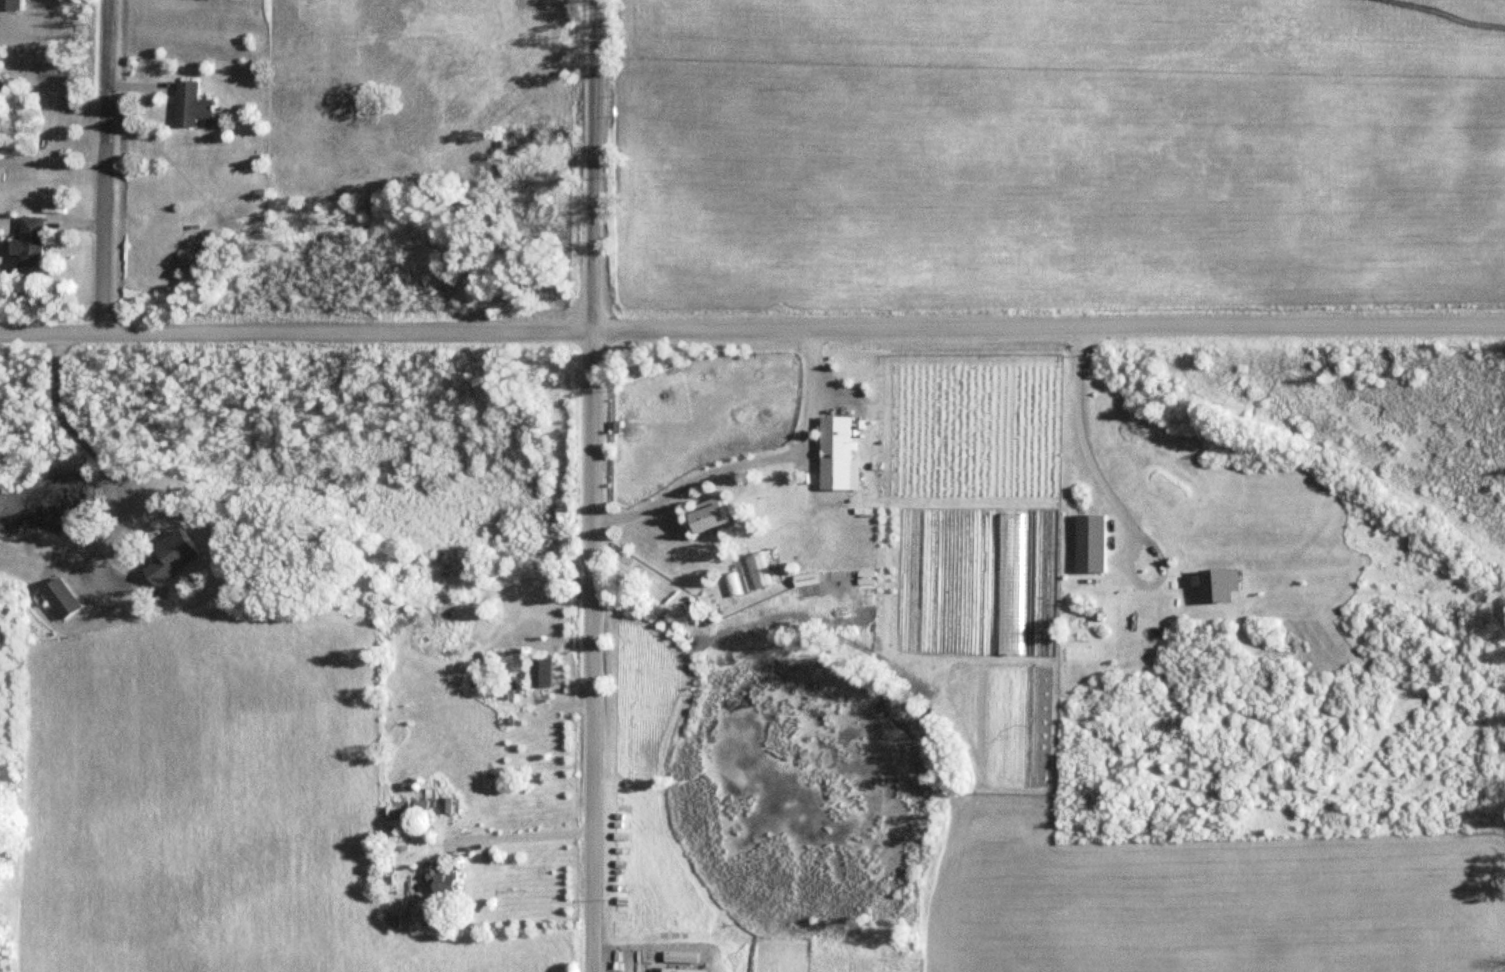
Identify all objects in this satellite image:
building: (10, 4)
building: (187, 103)
road: (106, 166)
road: (596, 166)
building: (25, 242)
building: (189, 263)
road: (752, 330)
building: (834, 450)
building: (707, 517)
building: (1089, 543)
building: (173, 556)
building: (1216, 584)
building: (59, 597)
road: (596, 652)
building: (540, 672)
building: (506, 690)
building: (439, 877)
building: (682, 969)

